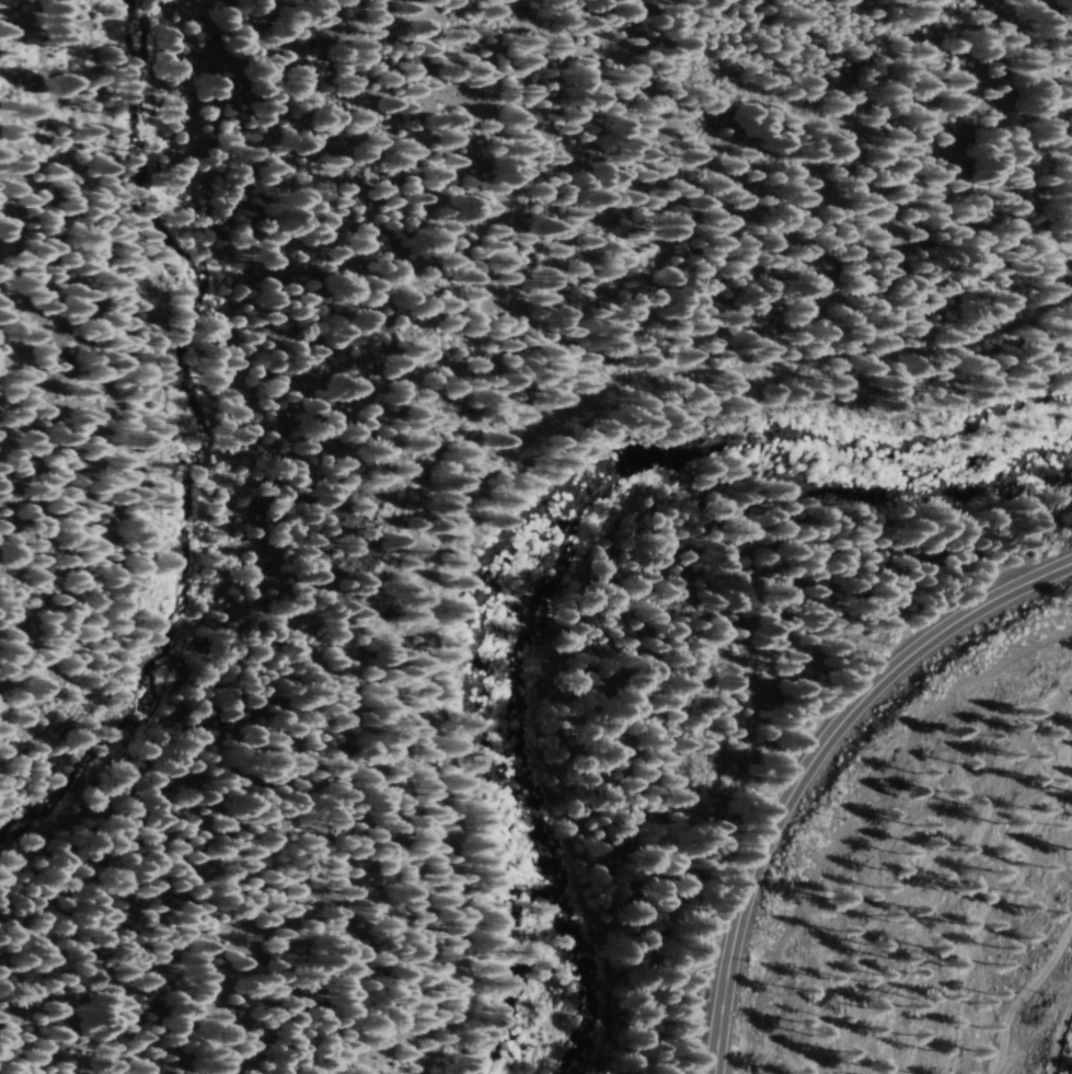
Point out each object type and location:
road: (773, 367)
road: (496, 516)
road: (807, 758)

